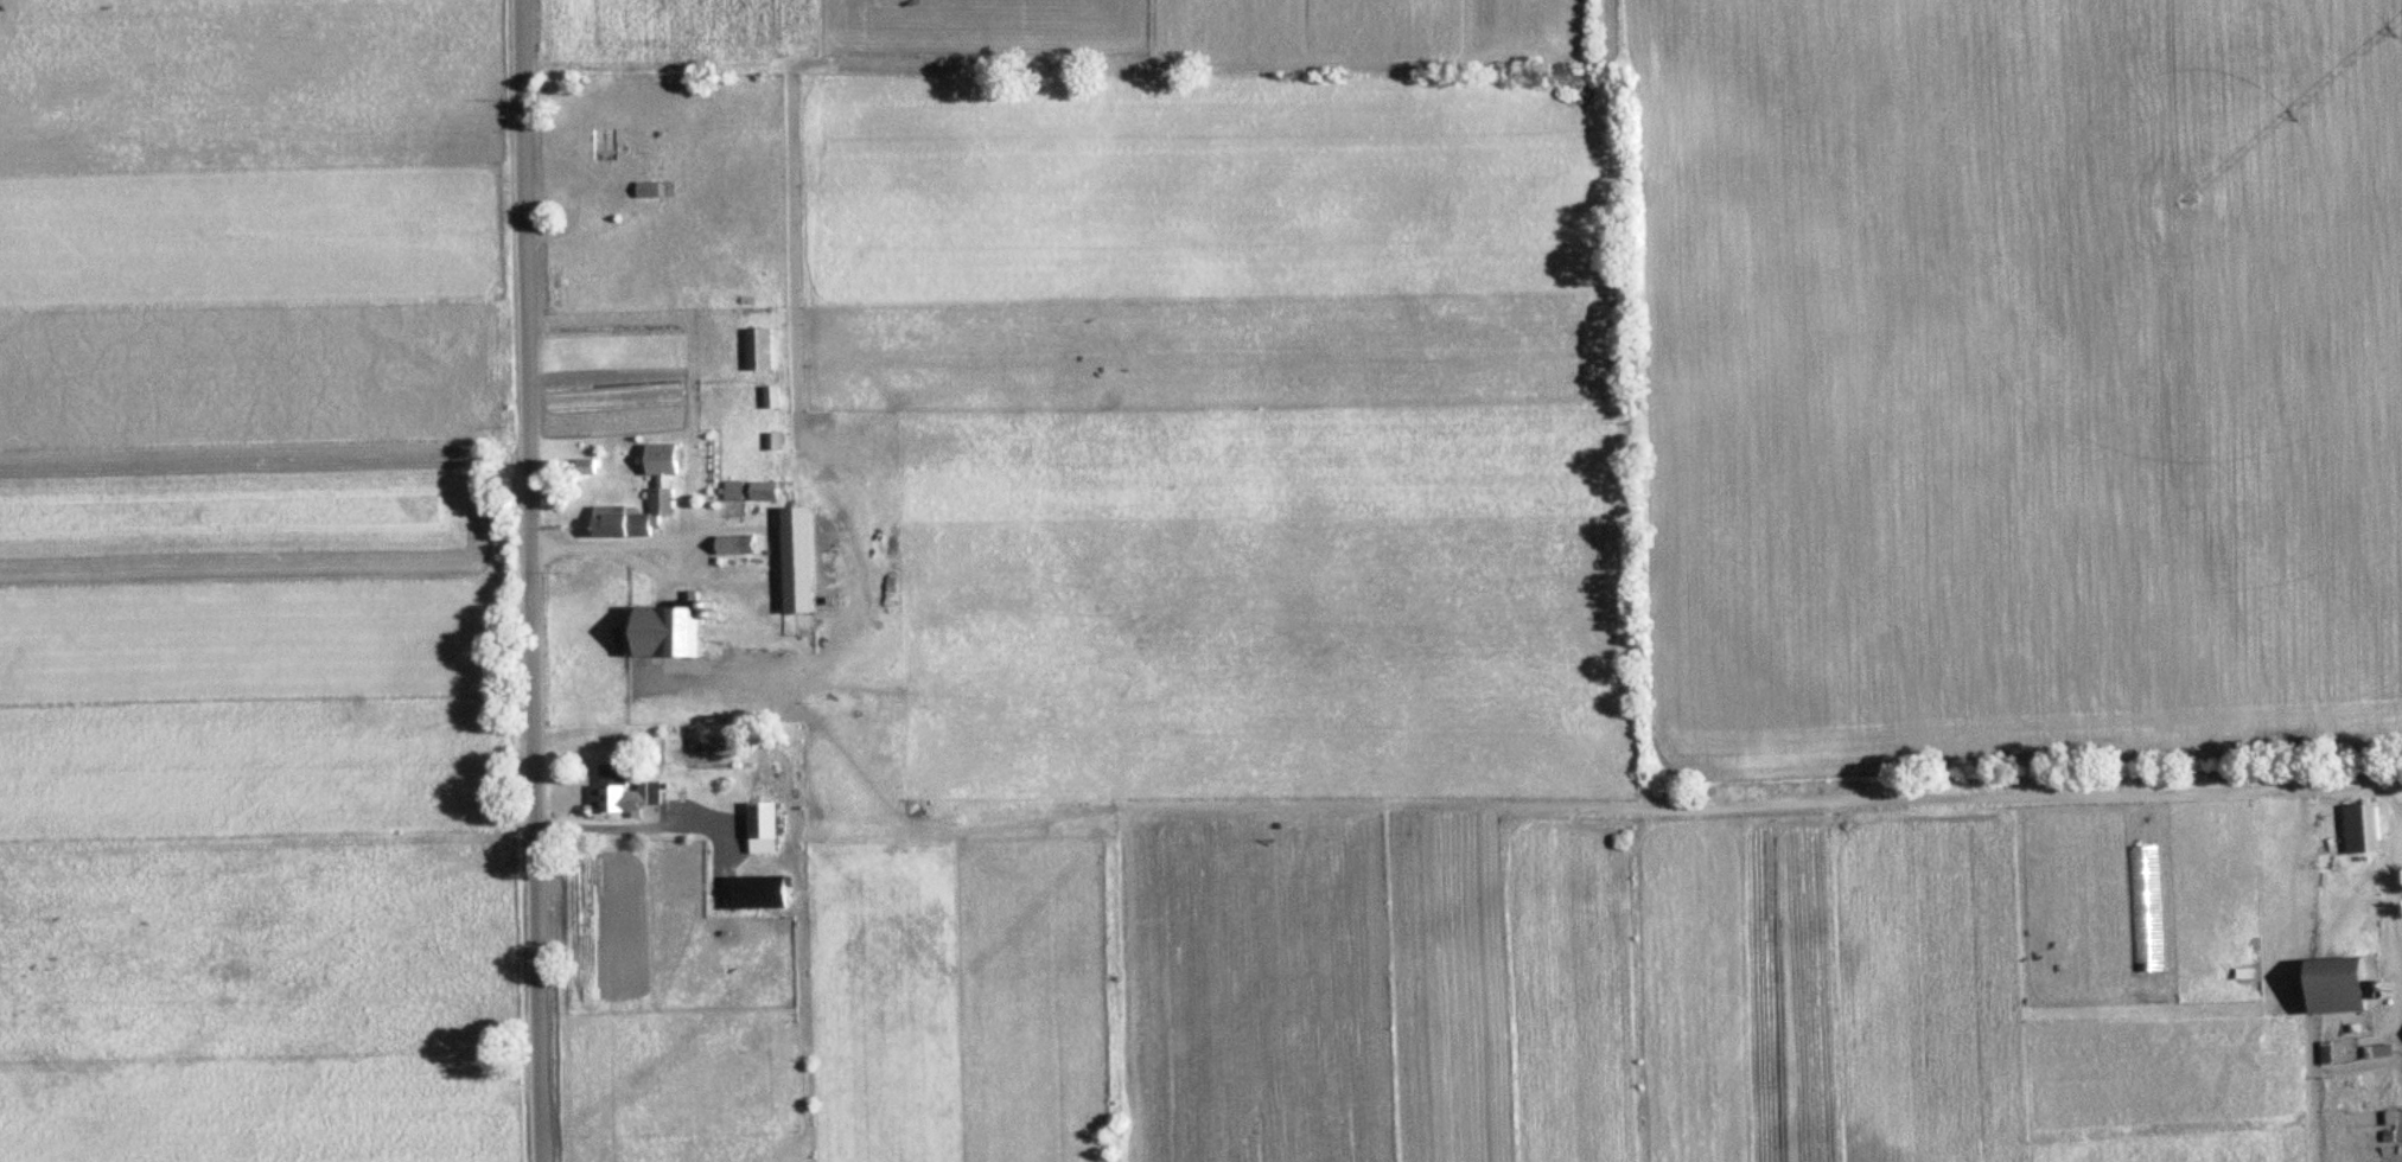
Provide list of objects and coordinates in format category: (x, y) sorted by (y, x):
building: (599, 145)
building: (644, 190)
building: (590, 212)
building: (756, 349)
building: (767, 396)
building: (731, 490)
building: (760, 491)
building: (630, 517)
building: (795, 560)
road: (531, 581)
building: (661, 632)
building: (619, 793)
building: (760, 826)
building: (2358, 828)
road: (2393, 918)
building: (2340, 984)

